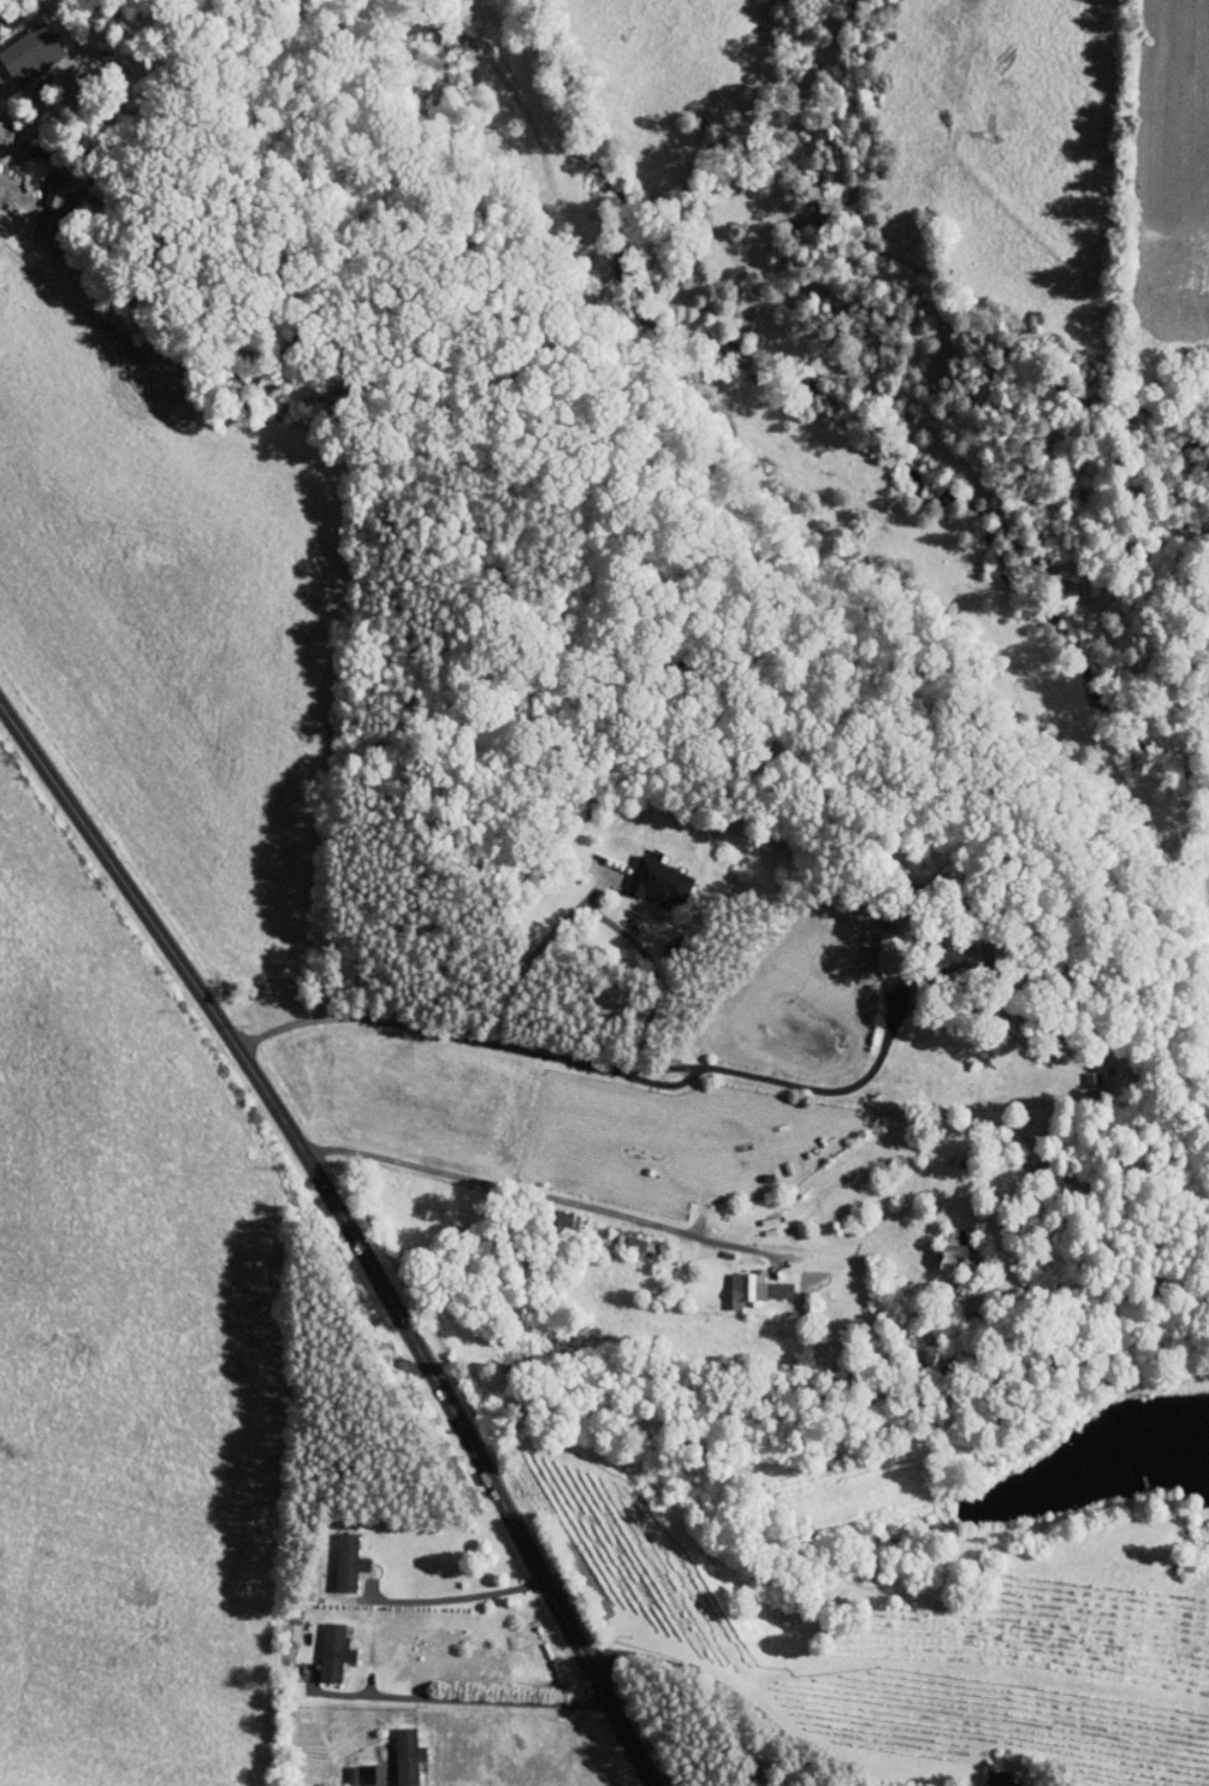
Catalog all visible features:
building: (22, 45)
building: (0, 117)
building: (46, 185)
building: (645, 873)
building: (877, 945)
road: (652, 966)
road: (597, 1065)
building: (1079, 1072)
road: (544, 1206)
building: (555, 1212)
road: (356, 1236)
building: (629, 1237)
building: (944, 1241)
building: (743, 1282)
building: (336, 1554)
road: (454, 1597)
building: (321, 1644)
road: (730, 1690)
road: (454, 1698)
building: (395, 1749)
building: (992, 1774)

